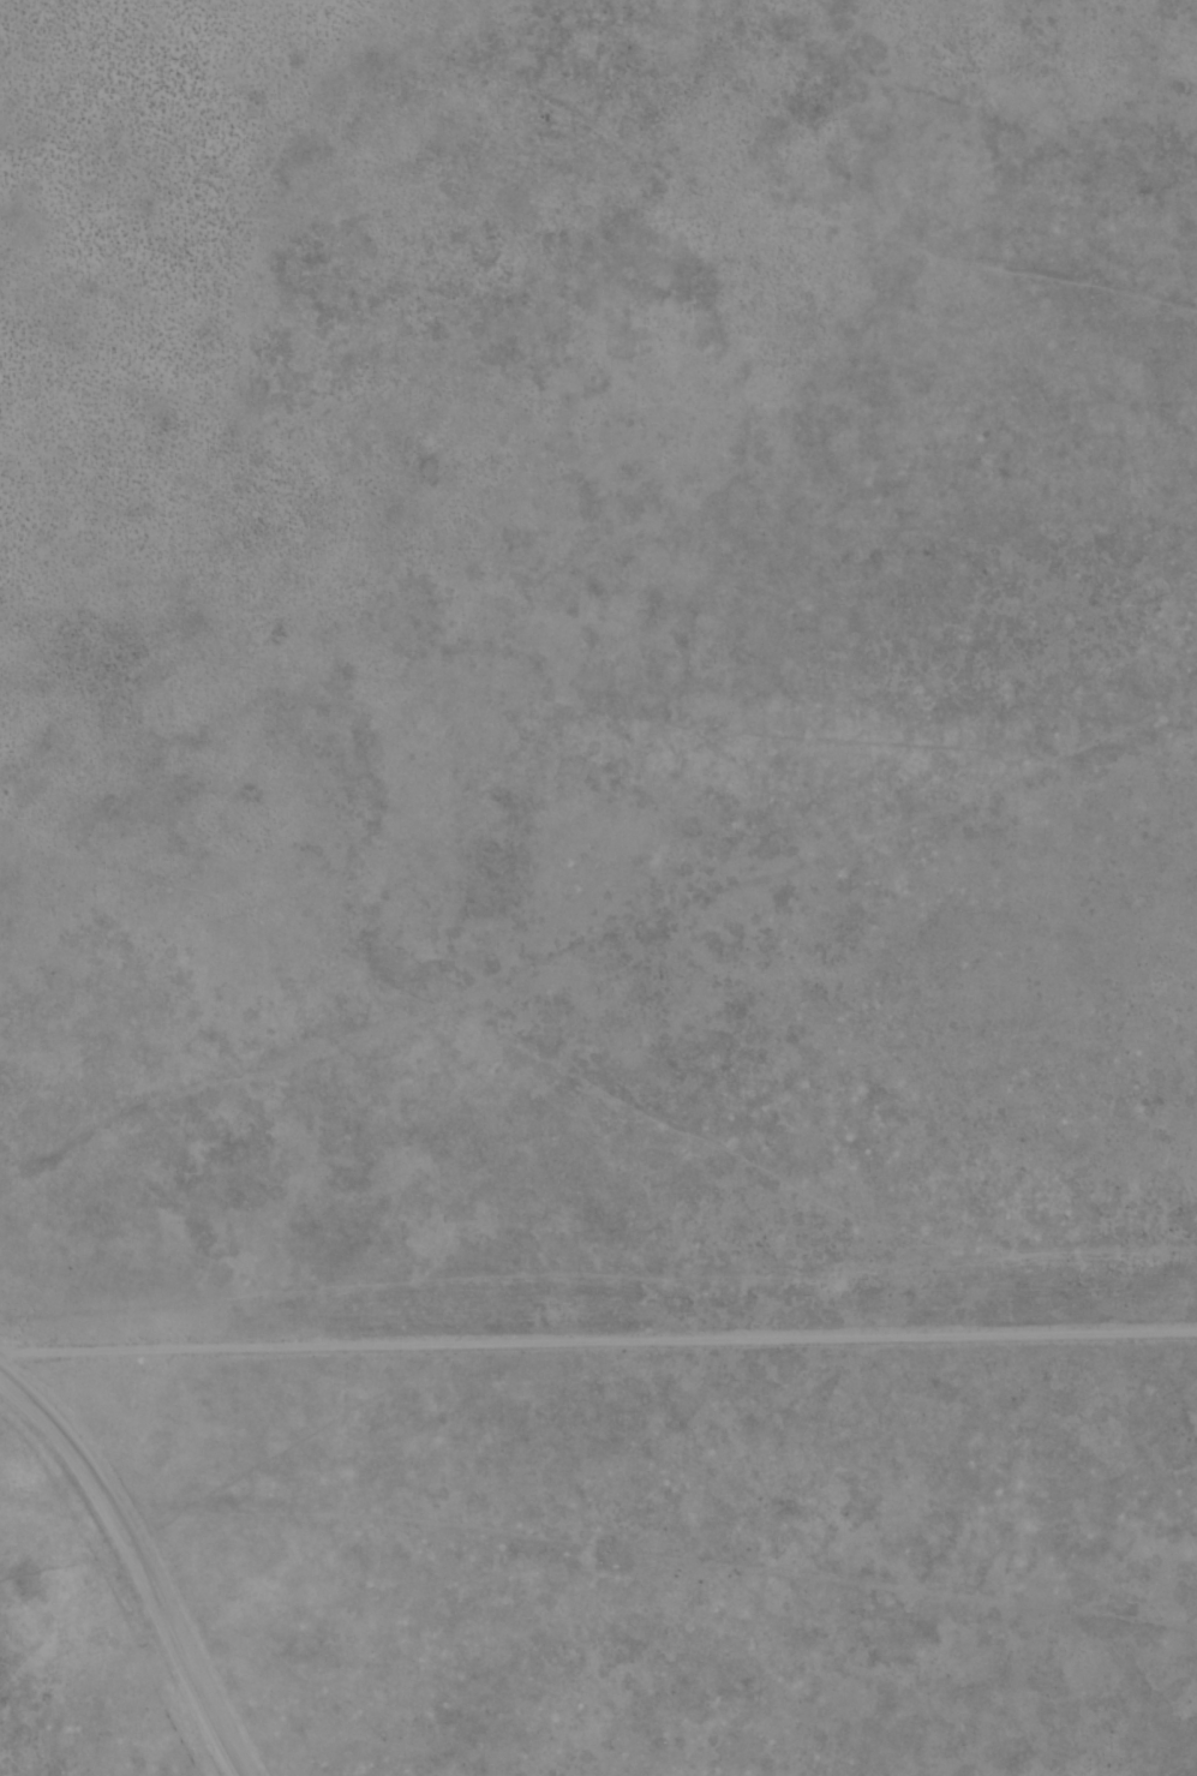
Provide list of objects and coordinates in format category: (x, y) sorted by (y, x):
road: (138, 1560)

